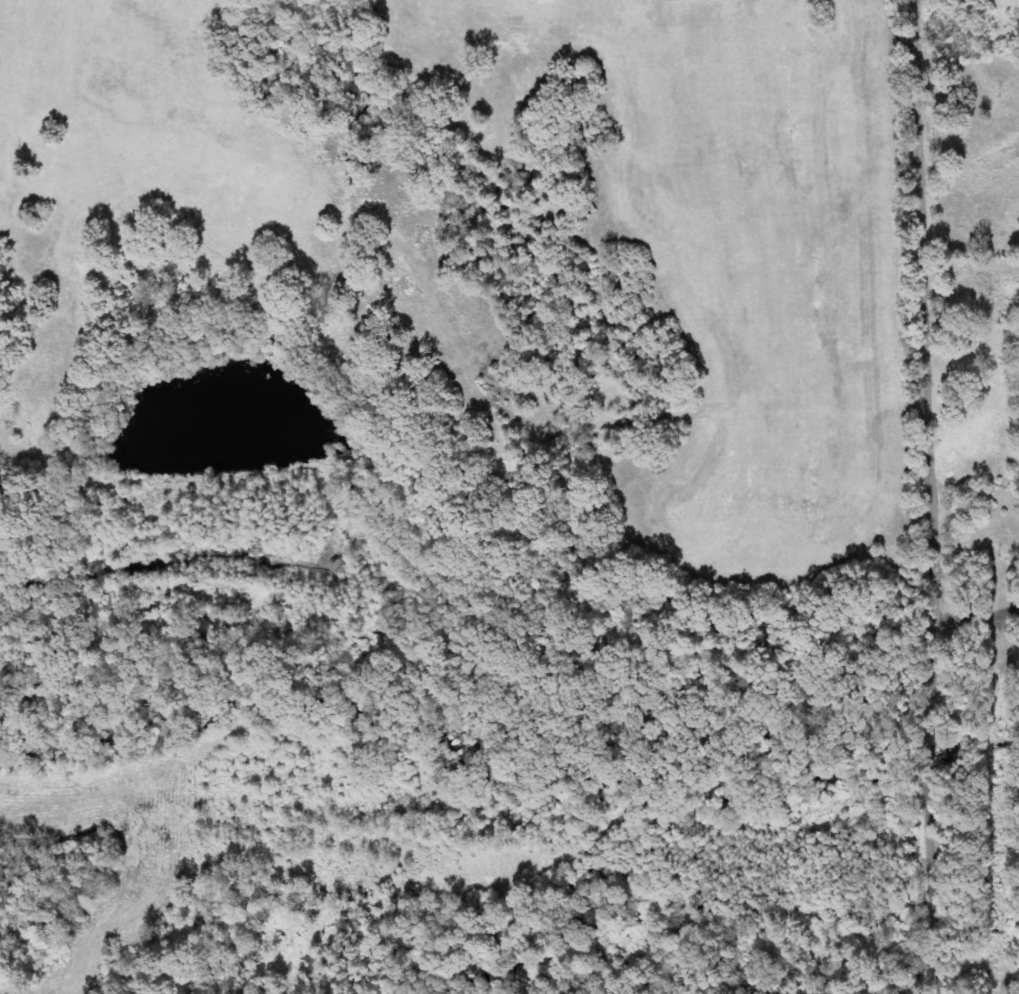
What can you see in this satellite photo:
road: (928, 497)

